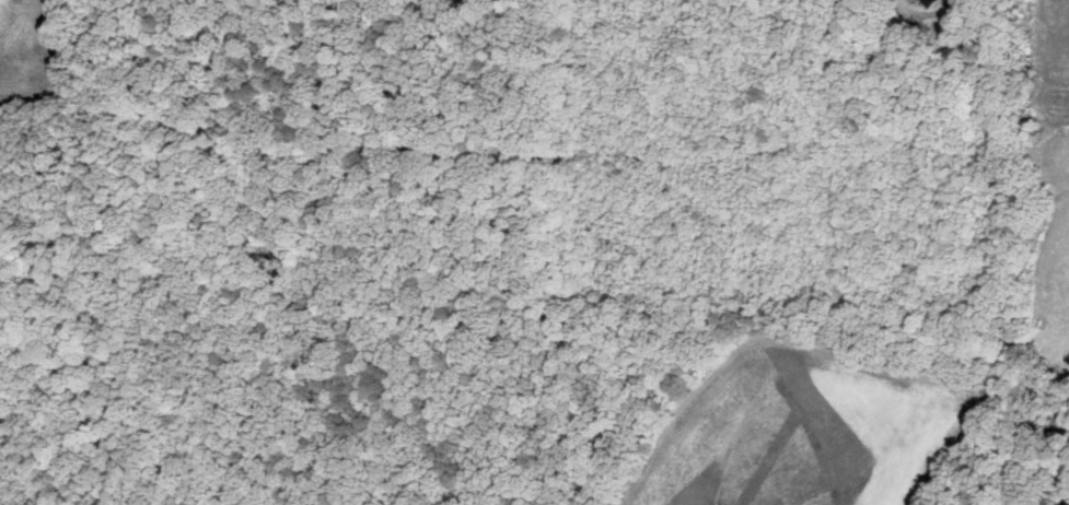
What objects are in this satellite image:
building: (930, 1)

